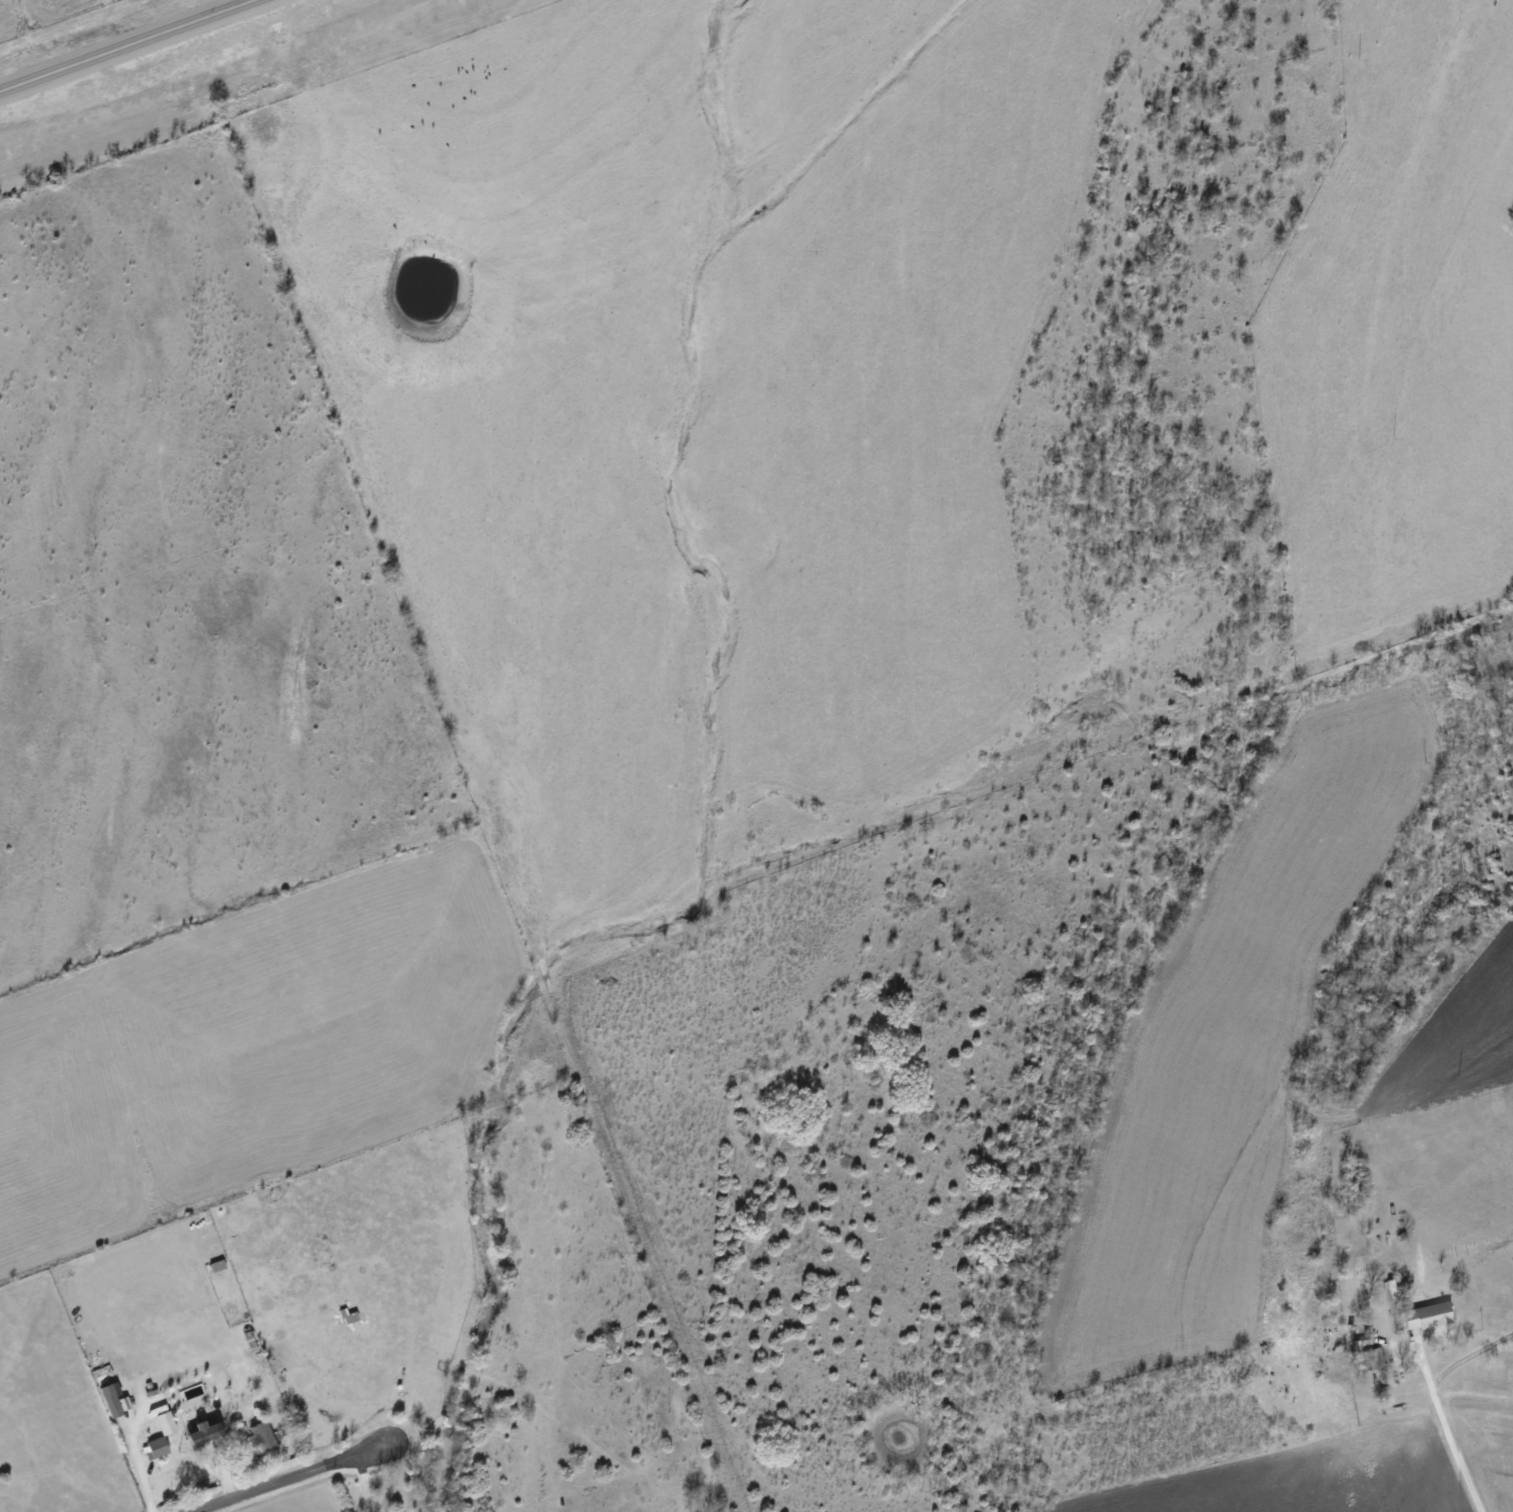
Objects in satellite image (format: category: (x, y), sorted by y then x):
road: (107, 36)
building: (1428, 1315)
building: (205, 1433)
building: (164, 1436)
building: (262, 1436)
road: (1449, 1440)
road: (139, 1464)
road: (289, 1480)
road: (365, 1484)

